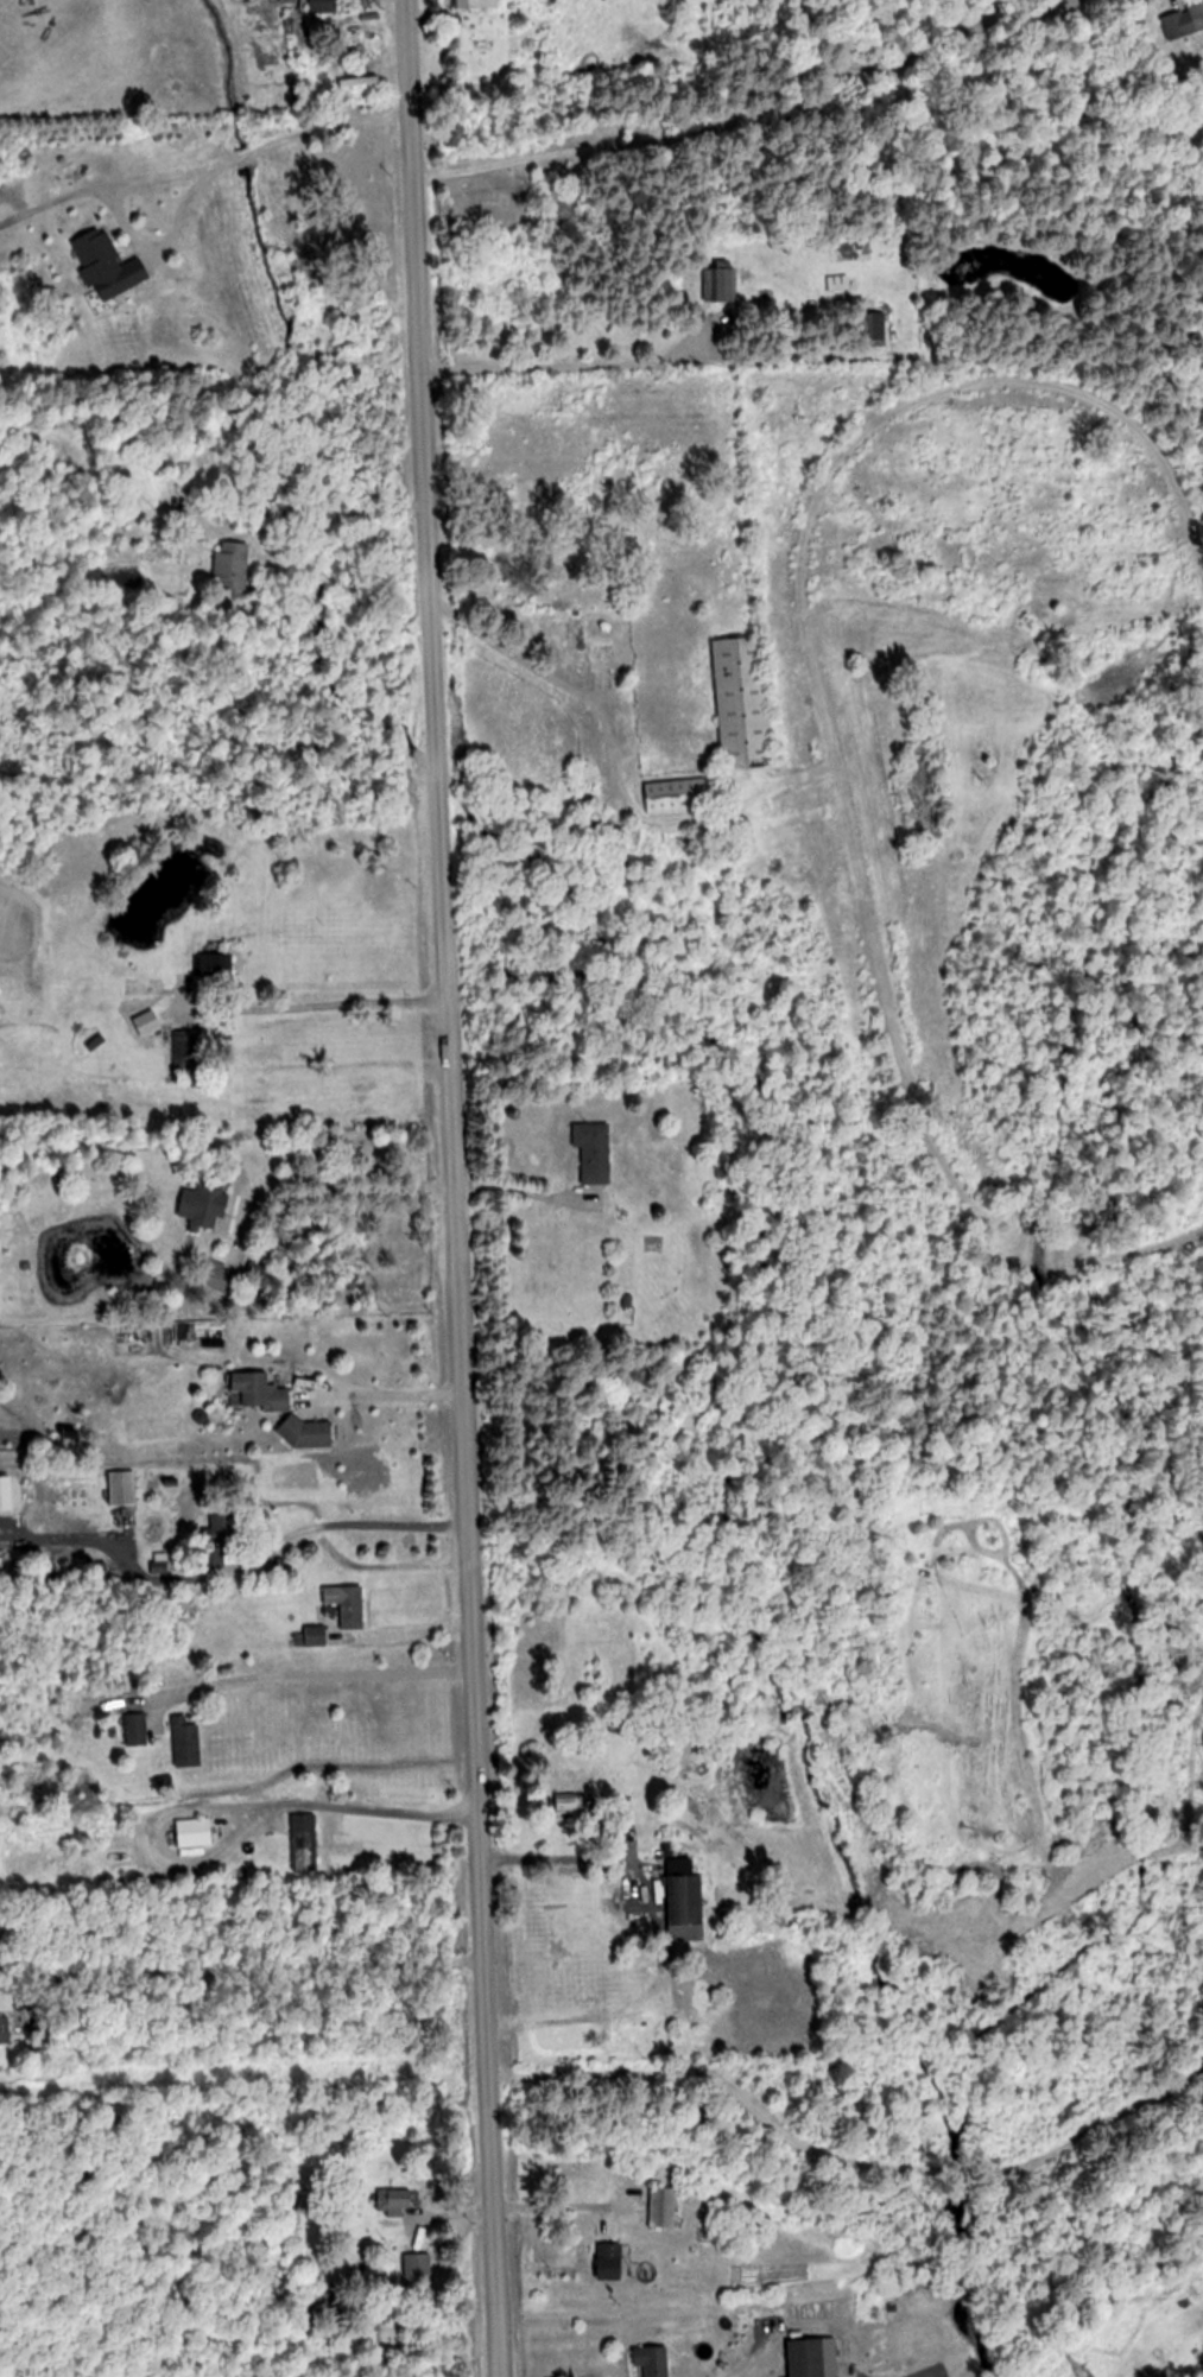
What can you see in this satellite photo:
building: (477, 4)
building: (323, 6)
building: (1182, 19)
road: (328, 125)
road: (236, 157)
road: (114, 222)
building: (109, 266)
building: (838, 284)
building: (720, 286)
building: (873, 330)
road: (546, 362)
road: (328, 519)
building: (230, 569)
building: (590, 658)
road: (534, 673)
building: (745, 702)
building: (677, 794)
building: (214, 964)
road: (318, 1008)
building: (185, 1052)
building: (591, 1151)
road: (450, 1187)
road: (350, 1191)
building: (205, 1205)
building: (262, 1392)
road: (386, 1394)
building: (308, 1433)
building: (122, 1488)
road: (346, 1526)
building: (348, 1604)
building: (316, 1635)
road: (310, 1674)
building: (134, 1729)
building: (186, 1742)
road: (365, 1815)
building: (194, 1833)
building: (303, 1837)
road: (549, 1858)
building: (684, 1899)
road: (240, 1971)
building: (1, 2029)
building: (394, 2201)
building: (661, 2207)
road: (562, 2212)
building: (610, 2262)
building: (813, 2358)
building: (652, 2360)
building: (699, 2360)
power tower: (1088, 2376)

